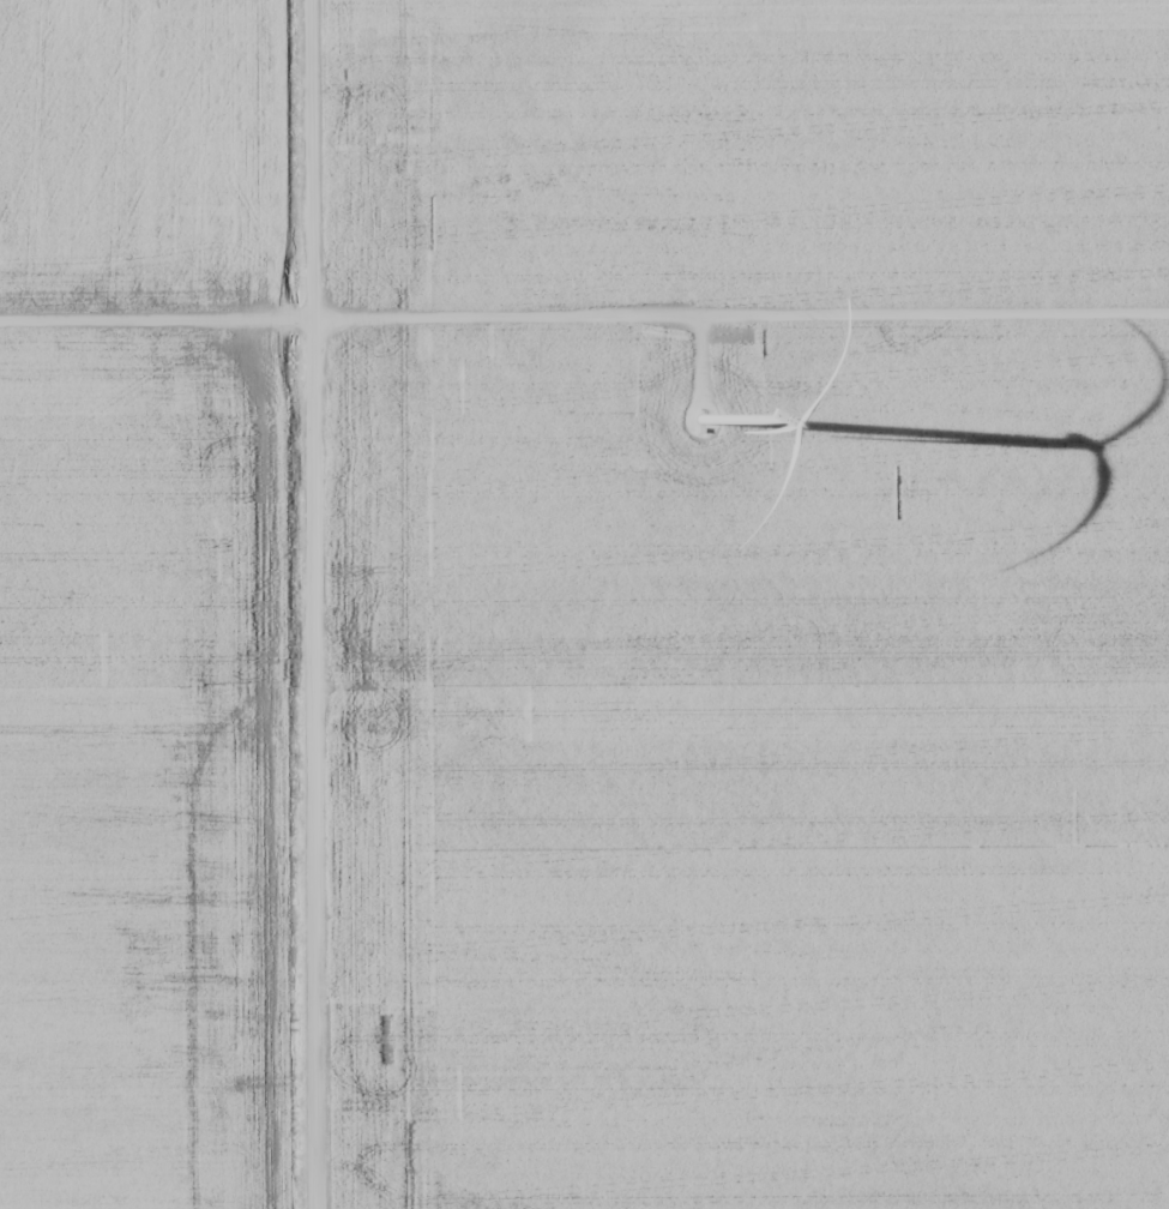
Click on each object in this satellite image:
wind turbine: (703, 415)
road: (317, 604)

